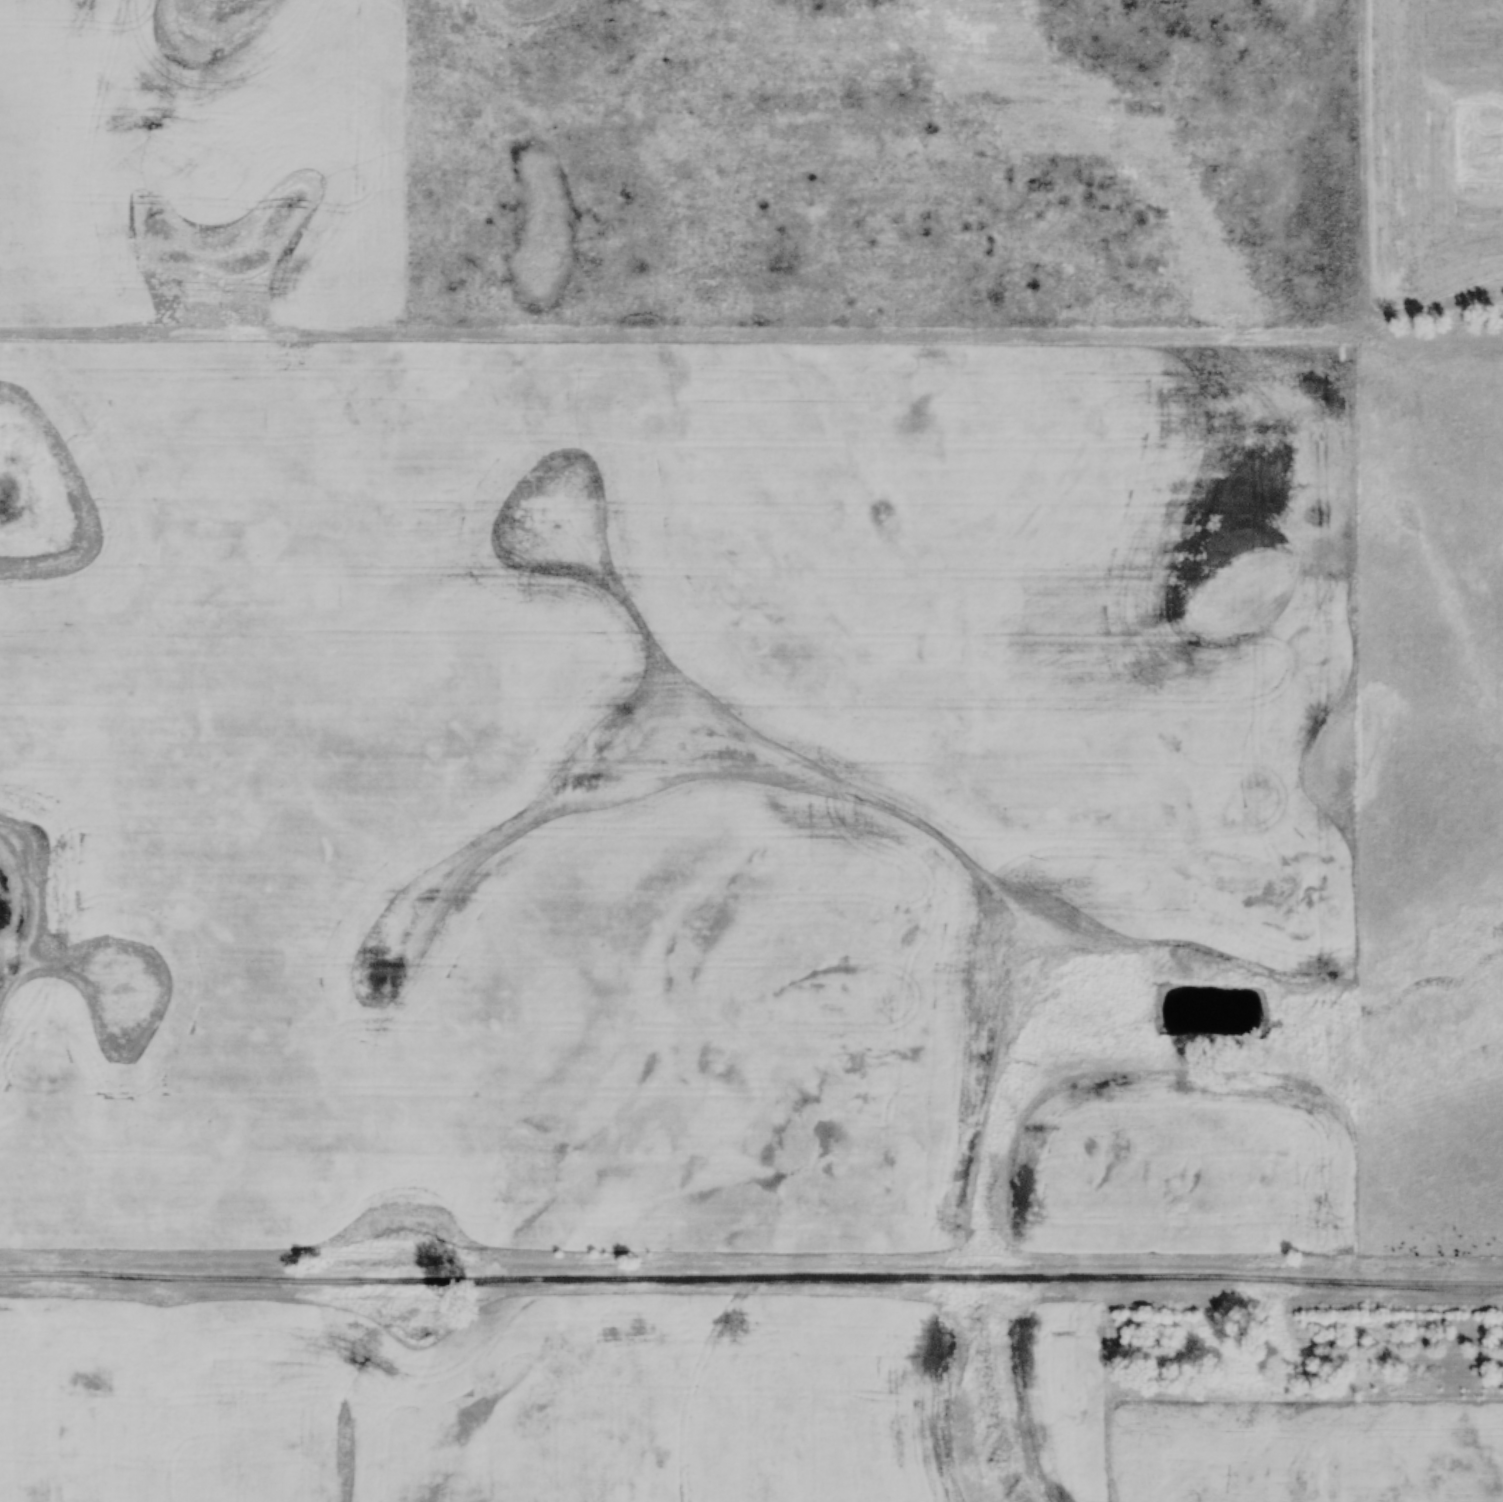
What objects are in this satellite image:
road: (751, 1277)

